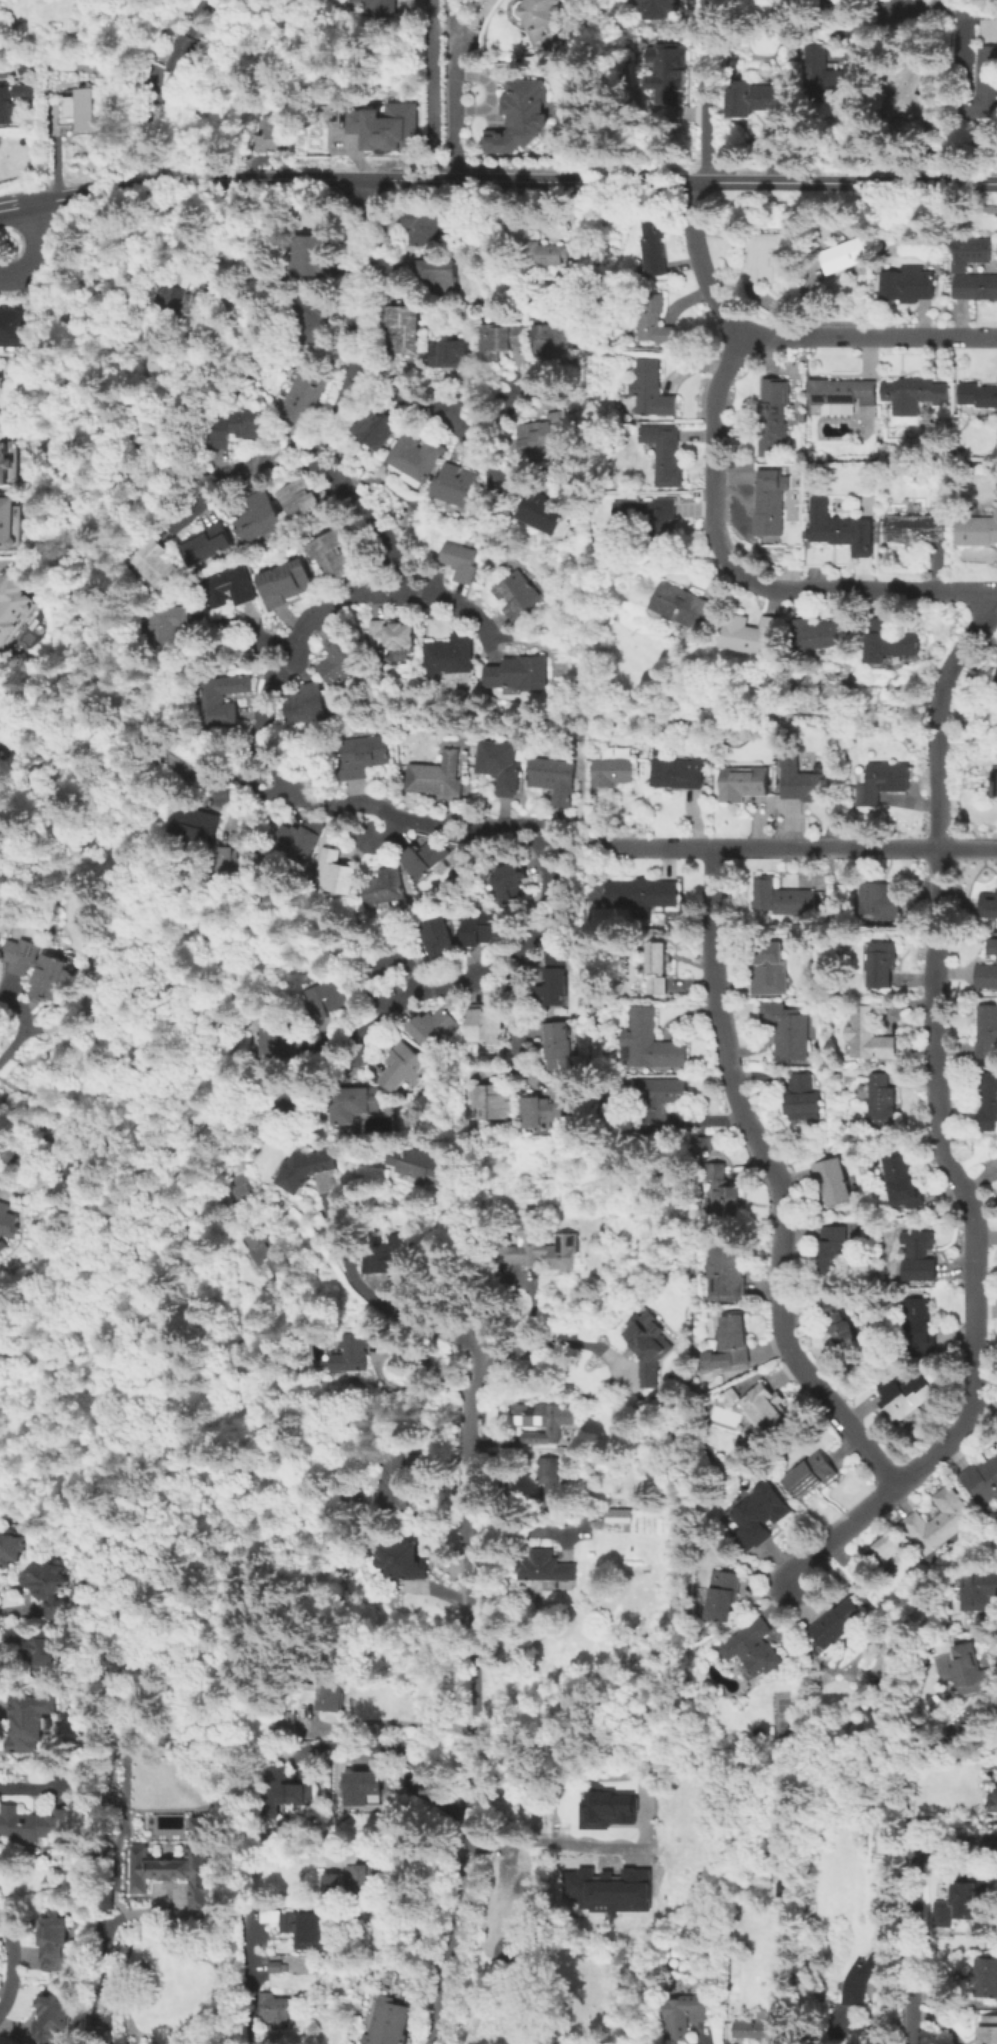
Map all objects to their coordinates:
road: (418, 2)
road: (824, 3)
road: (857, 6)
building: (385, 7)
building: (655, 8)
road: (705, 15)
building: (544, 18)
road: (469, 19)
building: (189, 43)
building: (3, 48)
building: (26, 65)
building: (665, 72)
building: (828, 77)
building: (983, 85)
road: (430, 89)
road: (454, 89)
building: (756, 97)
building: (915, 98)
building: (13, 99)
road: (705, 105)
building: (81, 109)
building: (518, 112)
building: (386, 122)
building: (271, 132)
road: (351, 178)
road: (842, 180)
road: (359, 187)
road: (8, 207)
road: (32, 223)
road: (352, 226)
building: (426, 226)
road: (364, 227)
building: (650, 246)
road: (36, 250)
building: (970, 251)
building: (308, 253)
building: (544, 253)
building: (844, 254)
building: (760, 258)
road: (698, 265)
road: (358, 267)
building: (571, 268)
building: (436, 273)
building: (906, 283)
building: (975, 286)
building: (174, 298)
road: (365, 315)
road: (351, 316)
building: (651, 319)
building: (316, 320)
building: (15, 323)
building: (401, 326)
road: (872, 336)
building: (550, 337)
building: (499, 338)
building: (451, 352)
building: (158, 364)
road: (363, 366)
road: (375, 368)
road: (367, 379)
building: (649, 388)
building: (839, 390)
building: (912, 393)
building: (303, 394)
building: (976, 394)
road: (340, 402)
road: (498, 409)
building: (771, 415)
road: (450, 420)
building: (234, 422)
building: (374, 424)
building: (138, 425)
building: (545, 433)
road: (292, 448)
road: (311, 449)
road: (714, 451)
building: (663, 453)
building: (415, 455)
road: (333, 457)
road: (295, 461)
building: (3, 462)
road: (318, 466)
road: (223, 476)
building: (452, 484)
building: (298, 497)
building: (768, 500)
road: (356, 507)
building: (546, 509)
building: (258, 516)
building: (652, 517)
building: (12, 525)
building: (839, 527)
building: (912, 527)
building: (977, 528)
building: (200, 541)
building: (329, 552)
road: (398, 560)
building: (459, 560)
building: (151, 563)
road: (364, 563)
building: (283, 581)
building: (225, 585)
road: (866, 590)
road: (383, 592)
building: (516, 593)
building: (680, 603)
road: (452, 605)
building: (14, 611)
building: (165, 627)
building: (821, 632)
building: (389, 633)
building: (749, 635)
road: (272, 639)
building: (888, 641)
road: (294, 644)
building: (447, 653)
building: (338, 658)
building: (517, 671)
building: (996, 677)
building: (218, 694)
building: (306, 703)
road: (269, 738)
road: (254, 742)
building: (0, 745)
building: (360, 755)
building: (184, 760)
building: (498, 764)
building: (612, 767)
building: (676, 772)
building: (435, 775)
building: (798, 775)
building: (555, 777)
building: (880, 780)
building: (993, 781)
building: (741, 782)
road: (247, 786)
road: (344, 805)
road: (457, 819)
building: (191, 825)
road: (529, 826)
road: (493, 829)
road: (380, 834)
road: (456, 837)
building: (297, 839)
road: (522, 842)
road: (574, 845)
road: (661, 847)
road: (825, 848)
road: (966, 848)
building: (424, 857)
building: (232, 861)
building: (332, 871)
building: (508, 881)
building: (383, 885)
building: (643, 896)
building: (782, 898)
building: (880, 901)
road: (546, 904)
building: (988, 904)
building: (485, 928)
building: (437, 937)
building: (993, 945)
building: (884, 962)
road: (497, 964)
building: (38, 966)
building: (657, 966)
building: (768, 968)
building: (987, 975)
building: (553, 981)
road: (498, 986)
building: (325, 998)
road: (379, 1007)
road: (509, 1015)
building: (485, 1024)
building: (433, 1027)
building: (787, 1029)
building: (988, 1030)
road: (356, 1032)
building: (871, 1034)
building: (278, 1037)
building: (650, 1041)
building: (558, 1046)
building: (404, 1066)
building: (803, 1097)
building: (989, 1099)
building: (294, 1101)
building: (493, 1101)
building: (356, 1102)
building: (884, 1102)
building: (663, 1103)
building: (550, 1109)
road: (942, 1129)
building: (49, 1136)
building: (705, 1142)
building: (19, 1156)
building: (418, 1161)
building: (308, 1168)
road: (775, 1178)
building: (834, 1180)
building: (902, 1181)
building: (722, 1190)
building: (8, 1226)
building: (539, 1246)
building: (834, 1249)
building: (267, 1252)
building: (918, 1255)
building: (393, 1257)
building: (727, 1270)
road: (375, 1295)
building: (839, 1322)
building: (918, 1326)
building: (375, 1335)
road: (547, 1340)
building: (732, 1343)
building: (650, 1345)
building: (351, 1353)
building: (735, 1394)
building: (906, 1395)
building: (764, 1408)
building: (546, 1420)
road: (981, 1421)
building: (552, 1478)
building: (811, 1479)
building: (982, 1480)
building: (394, 1483)
building: (619, 1514)
building: (760, 1516)
building: (938, 1522)
road: (531, 1527)
building: (14, 1544)
building: (407, 1561)
building: (549, 1567)
building: (54, 1588)
building: (978, 1589)
building: (723, 1594)
building: (834, 1624)
building: (9, 1641)
building: (52, 1654)
building: (757, 1654)
building: (324, 1662)
building: (968, 1669)
building: (327, 1690)
road: (477, 1694)
building: (287, 1721)
building: (35, 1722)
road: (399, 1751)
building: (362, 1785)
building: (624, 1788)
building: (283, 1795)
building: (558, 1799)
building: (993, 1804)
building: (603, 1809)
building: (40, 1822)
road: (563, 1847)
building: (192, 1865)
building: (339, 1881)
building: (373, 1882)
building: (610, 1886)
building: (959, 1902)
road: (916, 1903)
building: (293, 1919)
building: (323, 1931)
building: (61, 1940)
road: (111, 1954)
building: (0, 1956)
road: (20, 1963)
building: (1, 1965)
building: (285, 1965)
building: (987, 1976)
building: (866, 1978)
building: (0, 1984)
road: (251, 1984)
building: (284, 2011)
building: (685, 2011)
building: (60, 2019)
building: (392, 2021)
building: (760, 2027)
building: (990, 2029)

